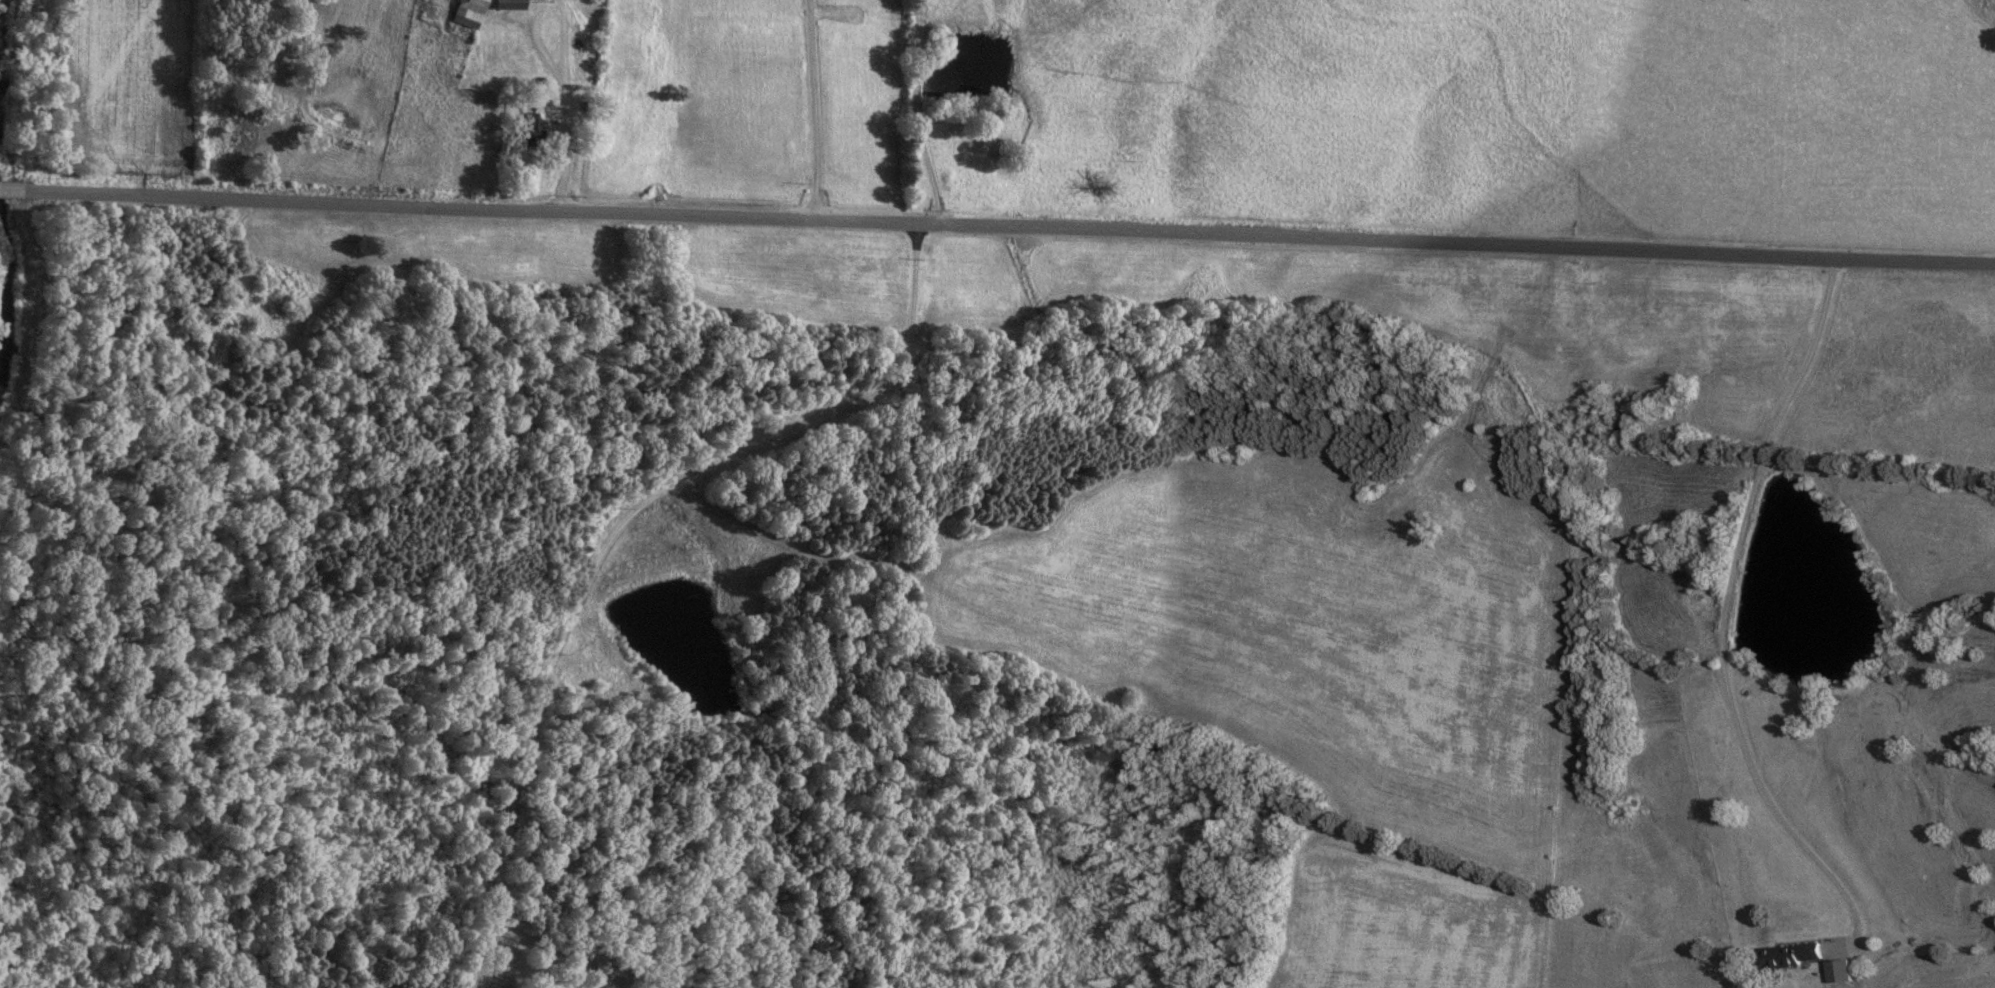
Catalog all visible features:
building: (508, 4)
building: (467, 12)
road: (563, 57)
road: (813, 108)
road: (914, 112)
road: (13, 191)
road: (1011, 224)
road: (610, 533)
road: (1728, 609)
building: (1790, 955)
road: (469, 986)

